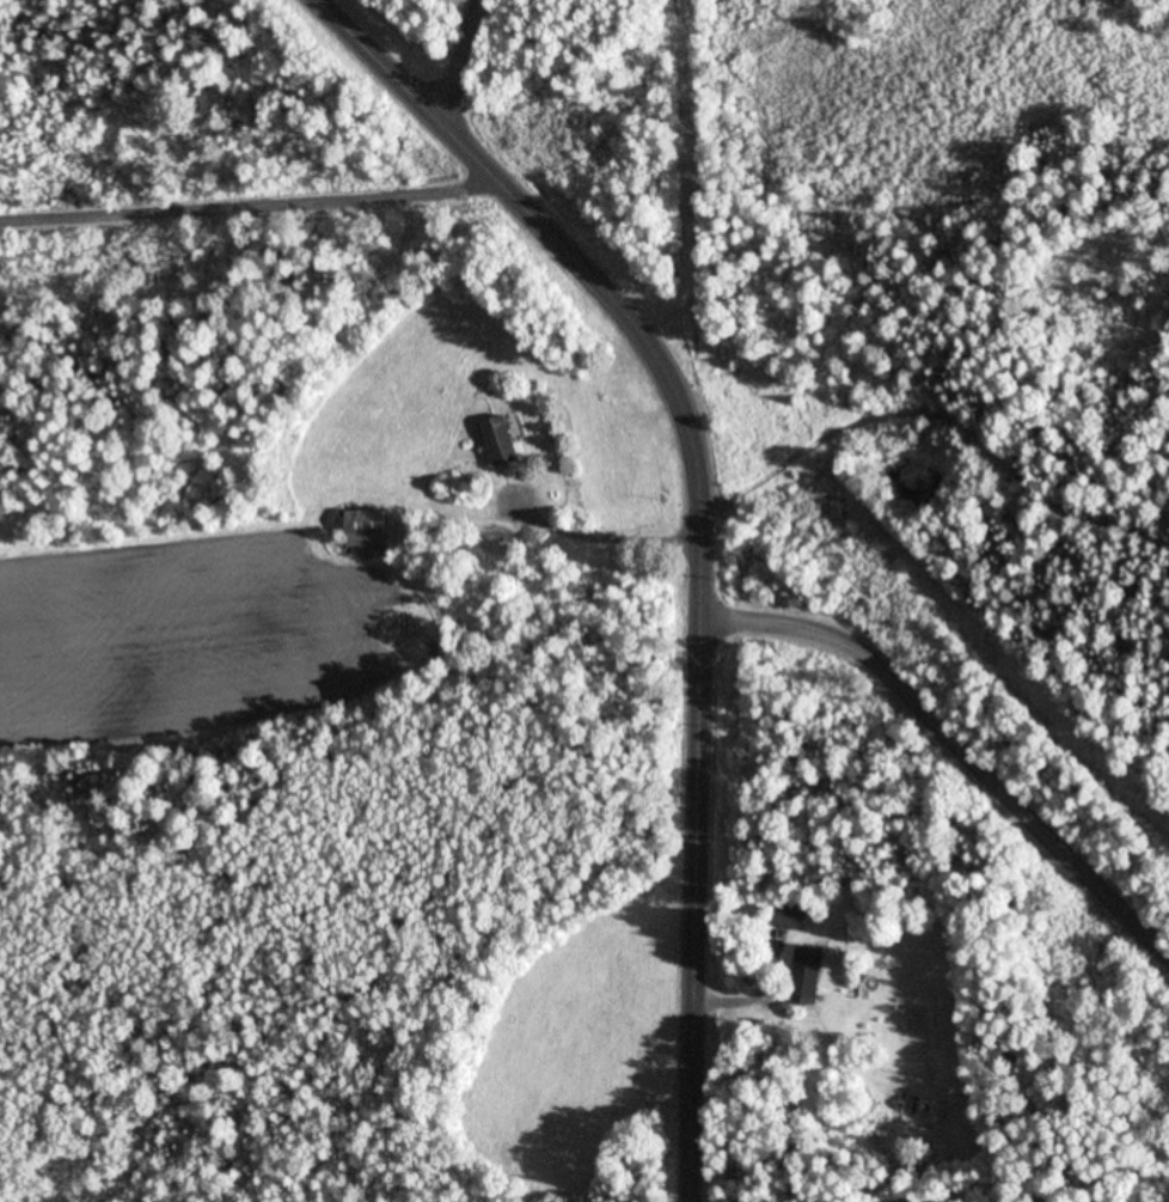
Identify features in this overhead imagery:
road: (448, 61)
road: (255, 202)
building: (506, 440)
road: (702, 525)
building: (372, 529)
road: (960, 732)
building: (791, 915)
building: (810, 976)

